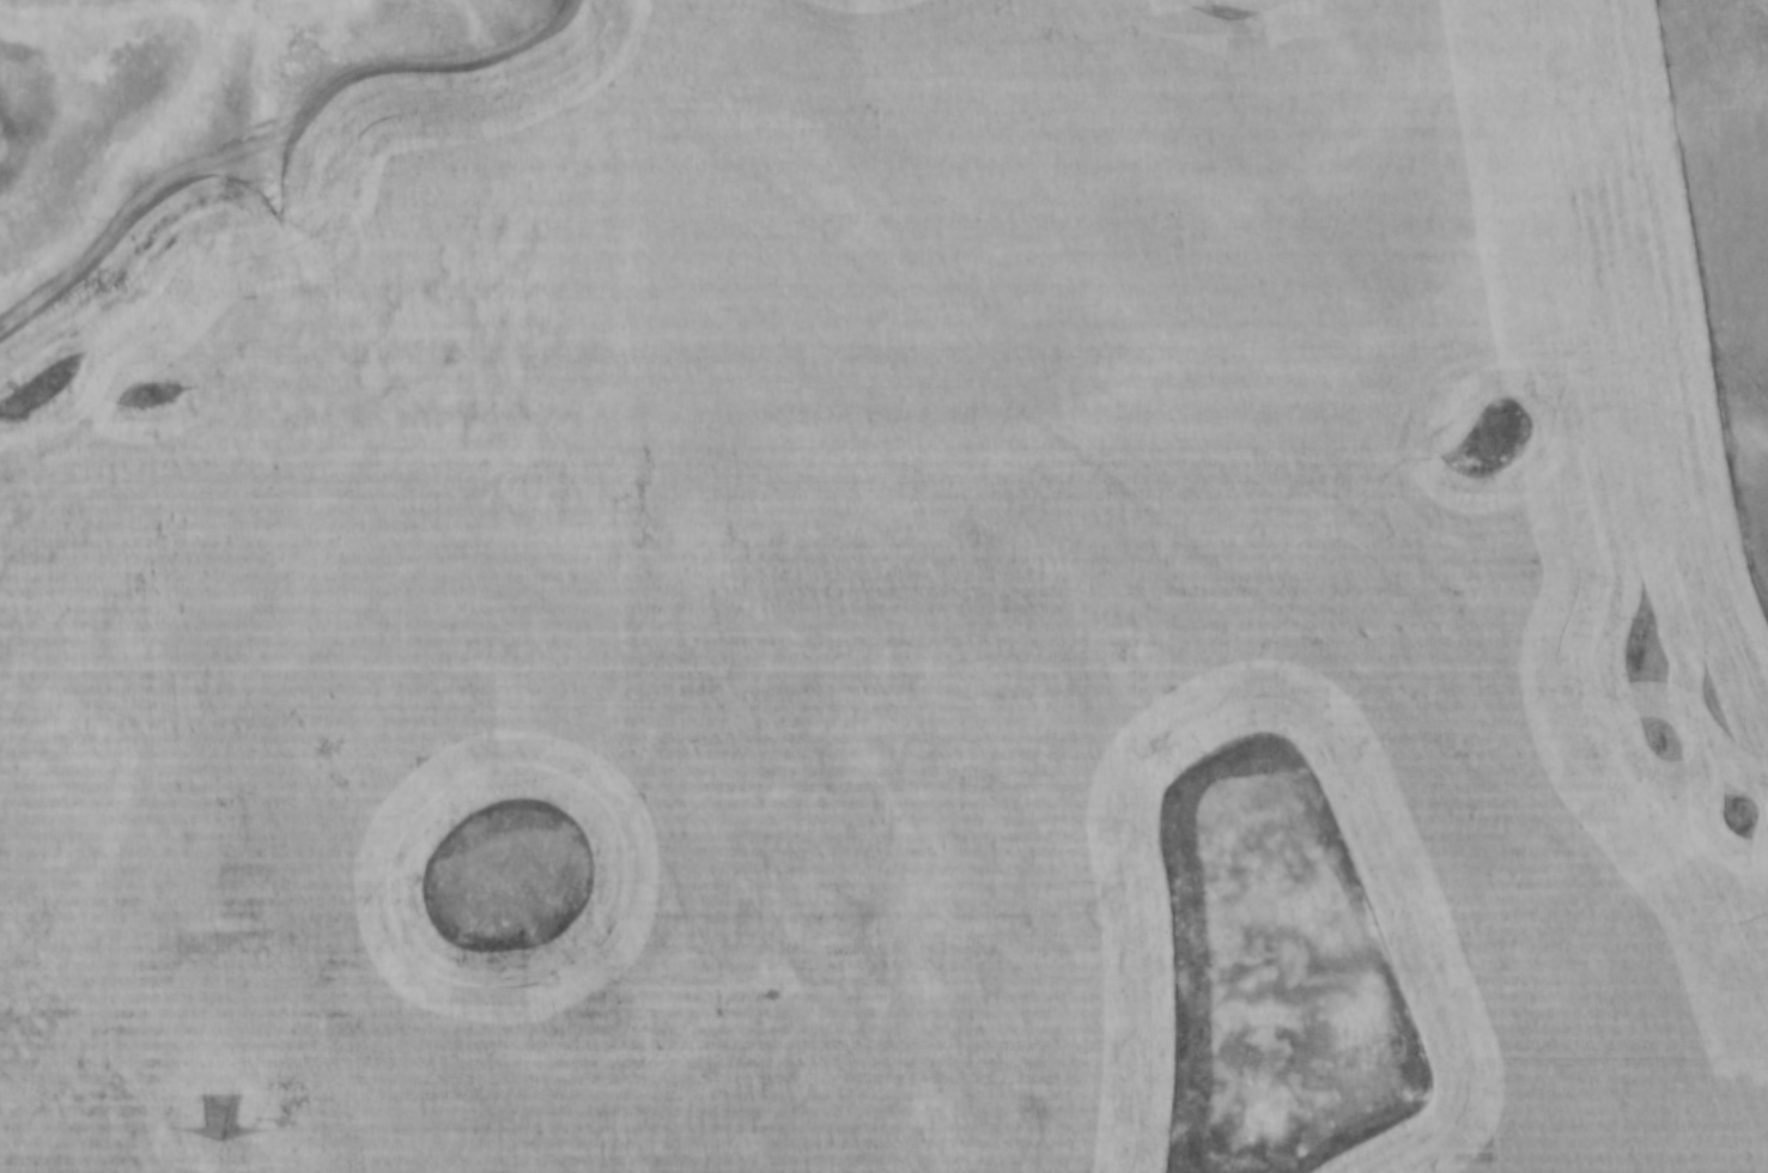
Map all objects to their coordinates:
road: (275, 552)

